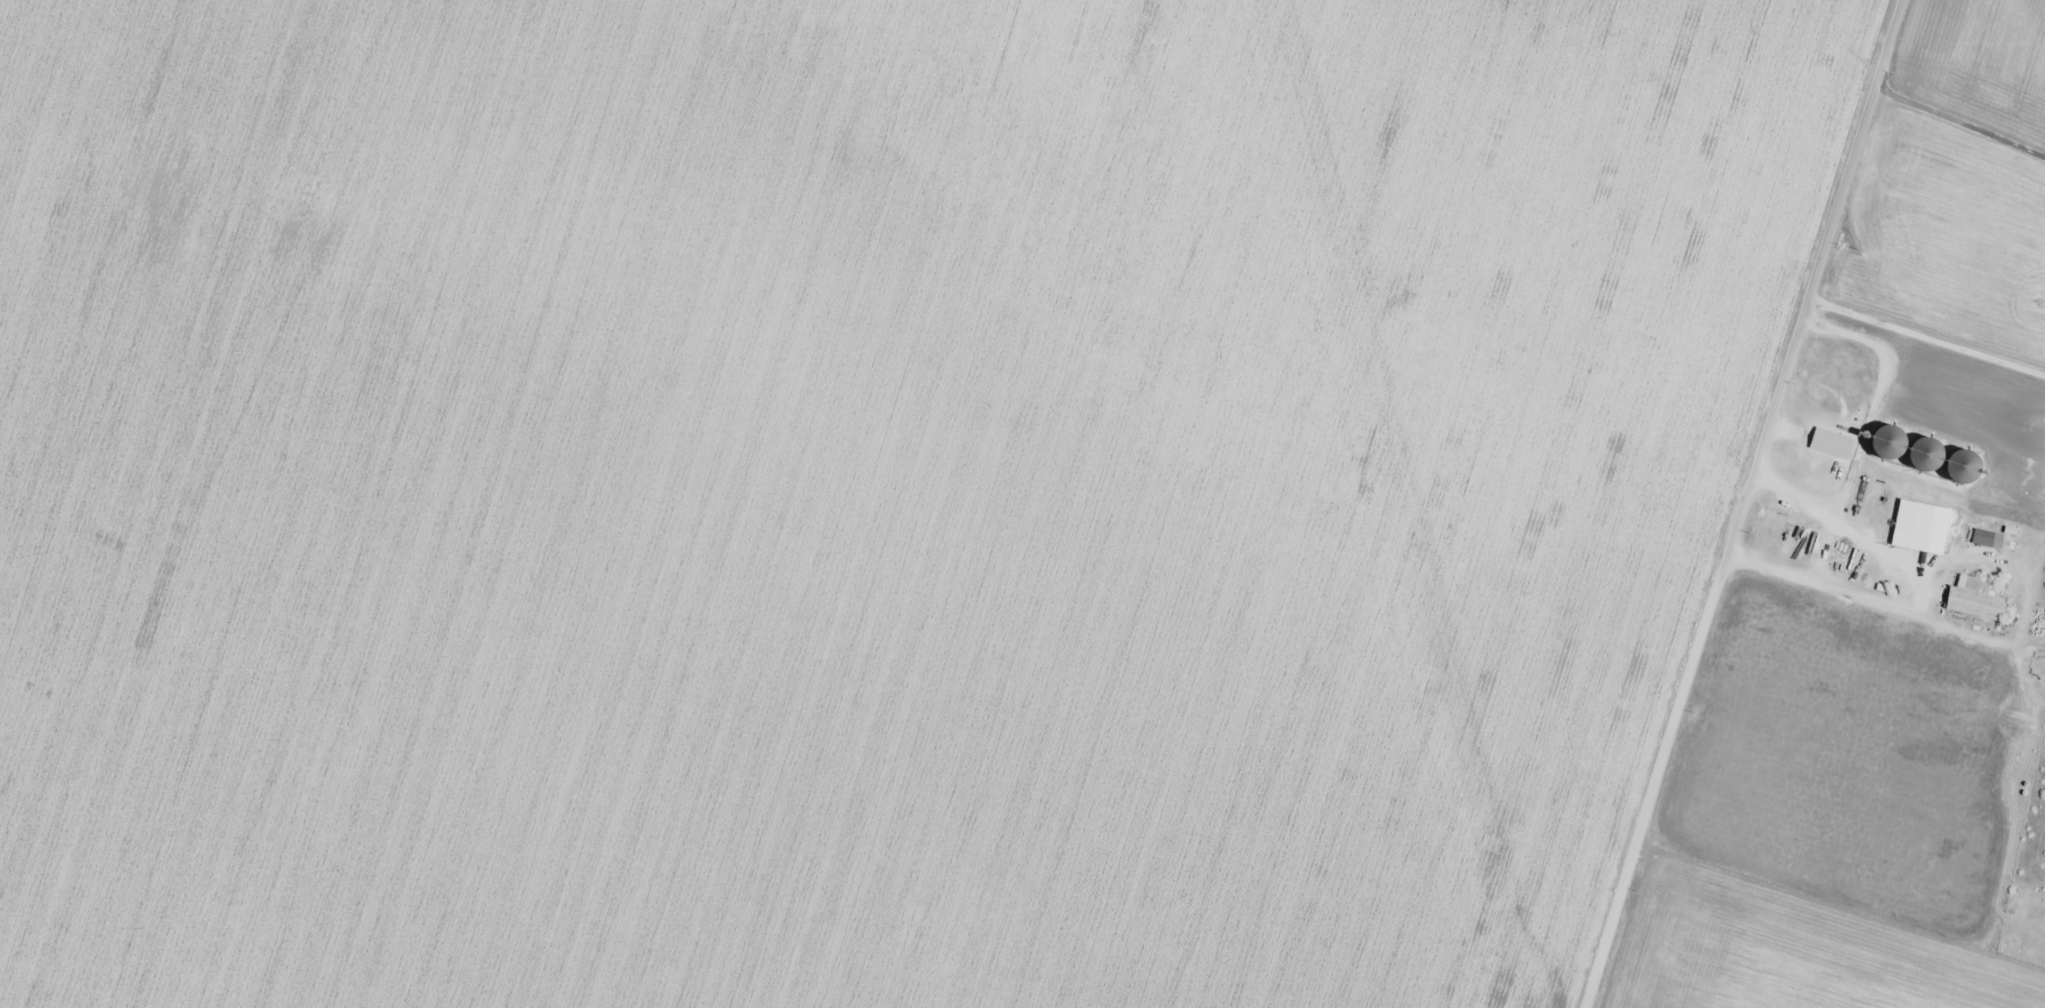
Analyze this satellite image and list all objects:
road: (1749, 504)
building: (1922, 526)
building: (1978, 595)
road: (1888, 597)

